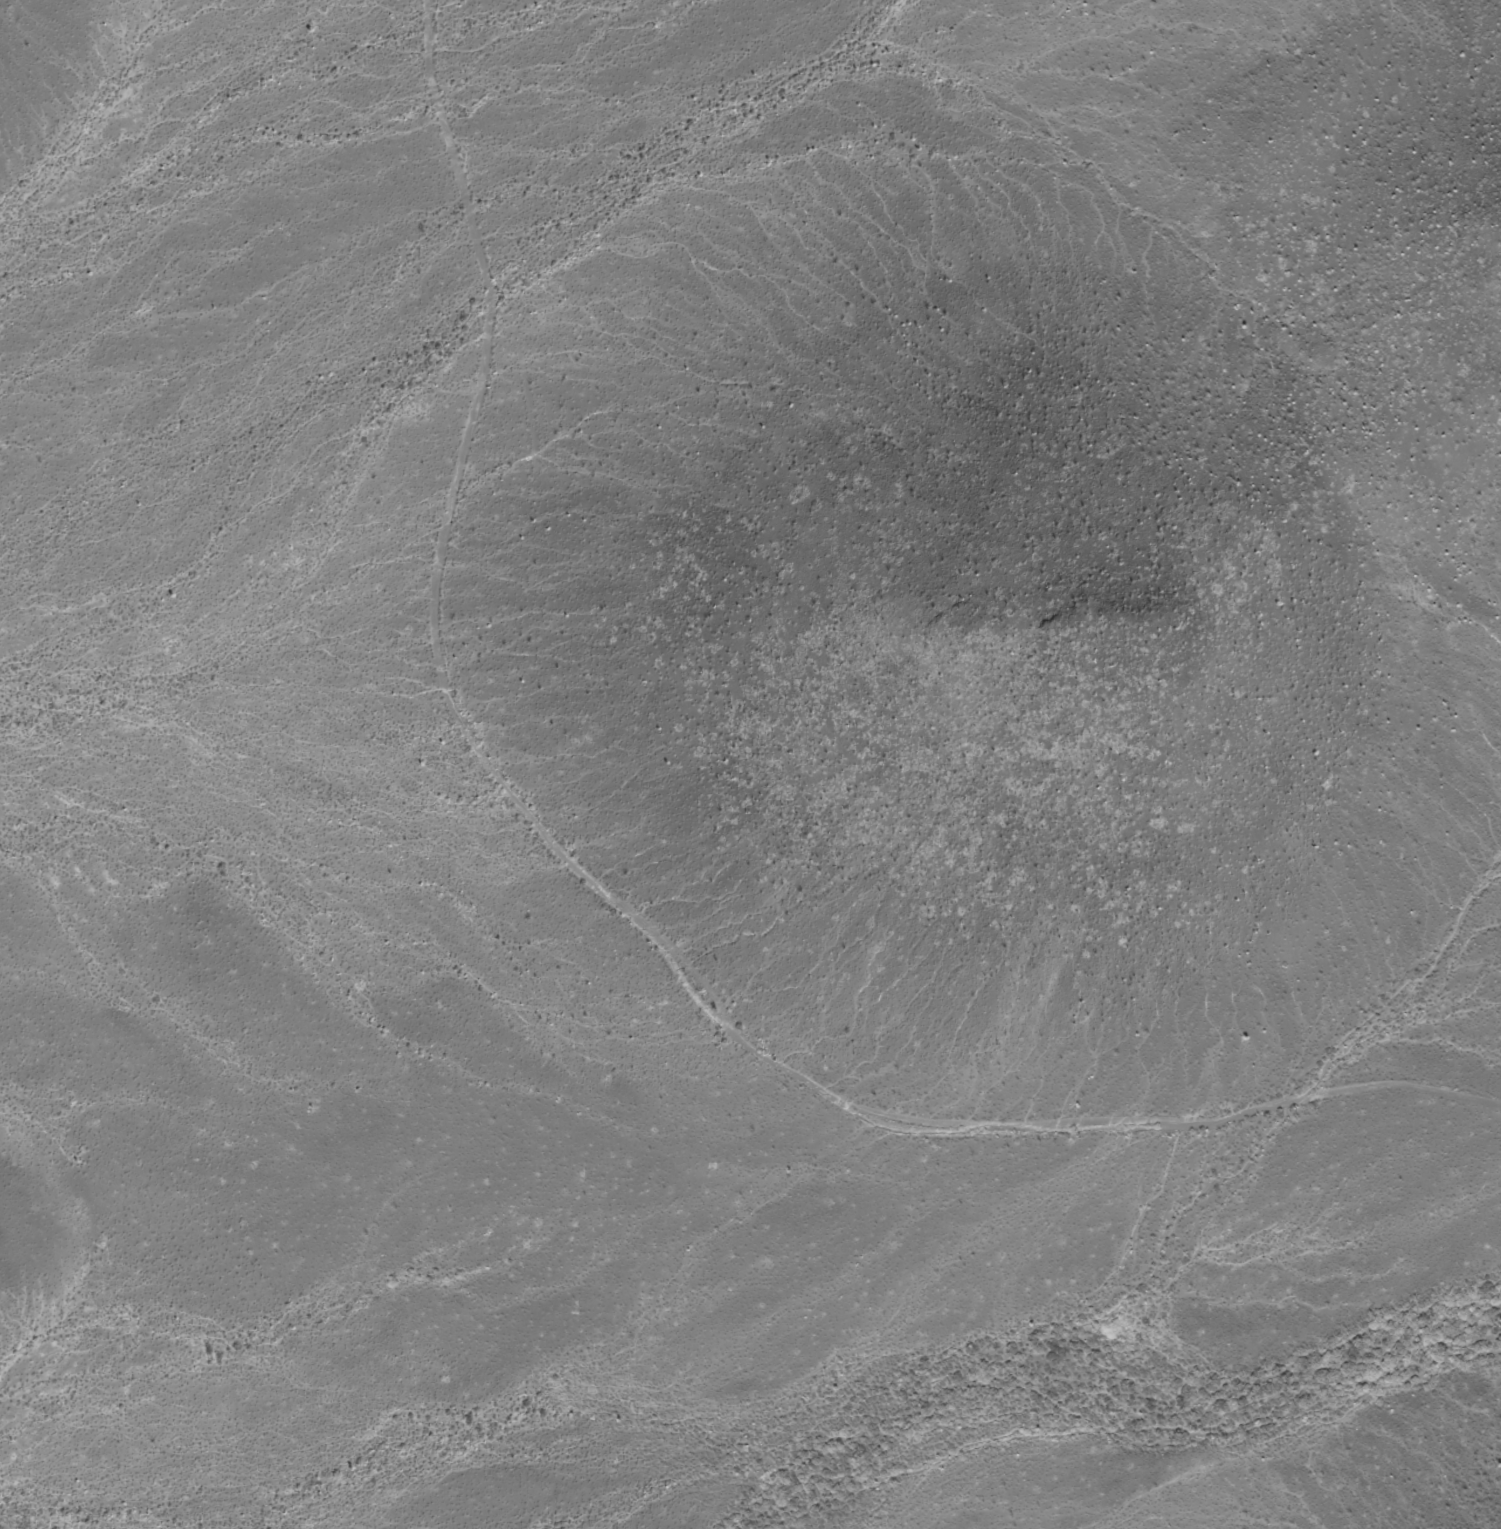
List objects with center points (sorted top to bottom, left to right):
road: (600, 917)

